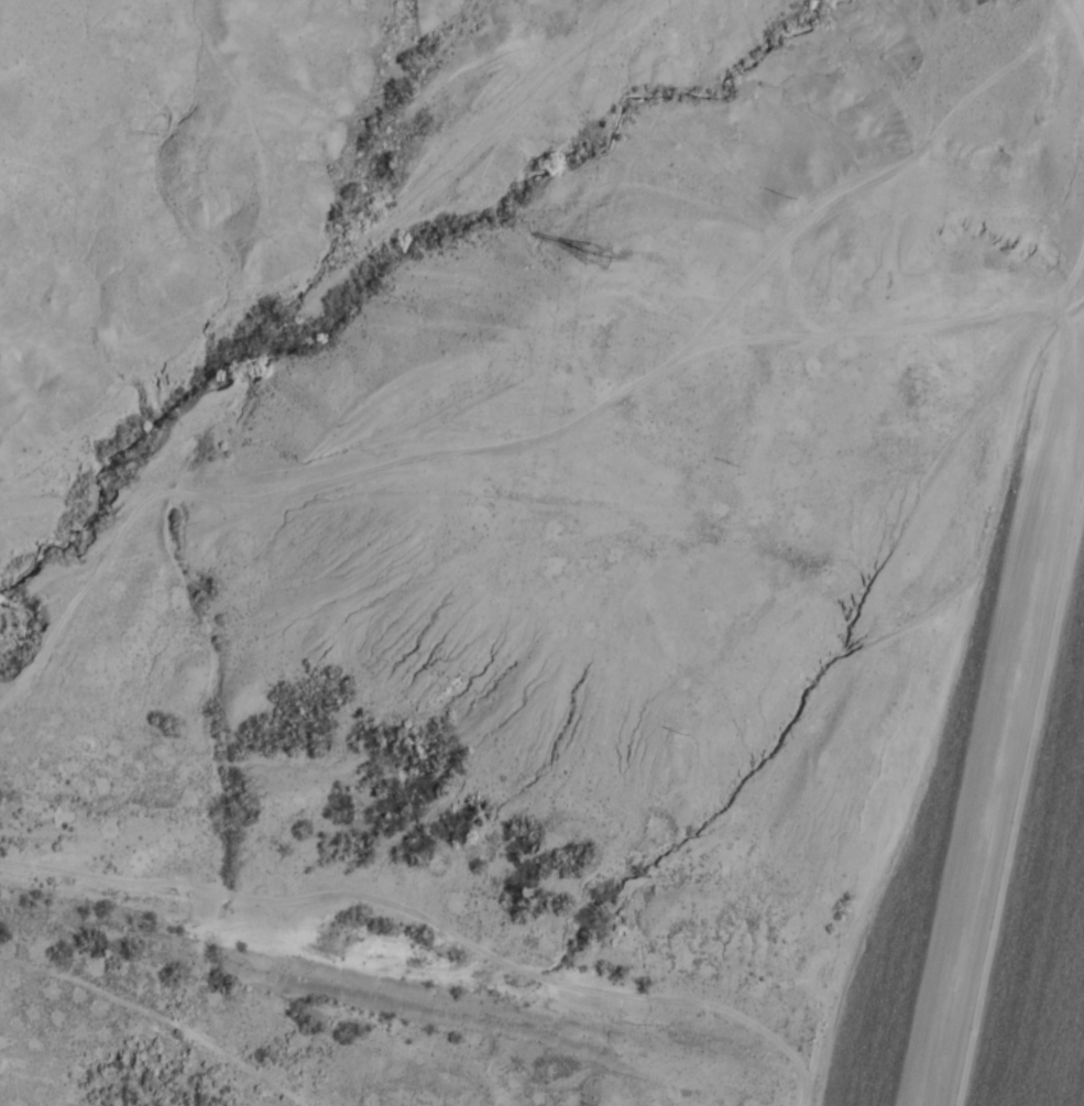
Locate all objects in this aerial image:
road: (182, 190)
power tower: (600, 251)
road: (1007, 746)
river: (535, 988)

